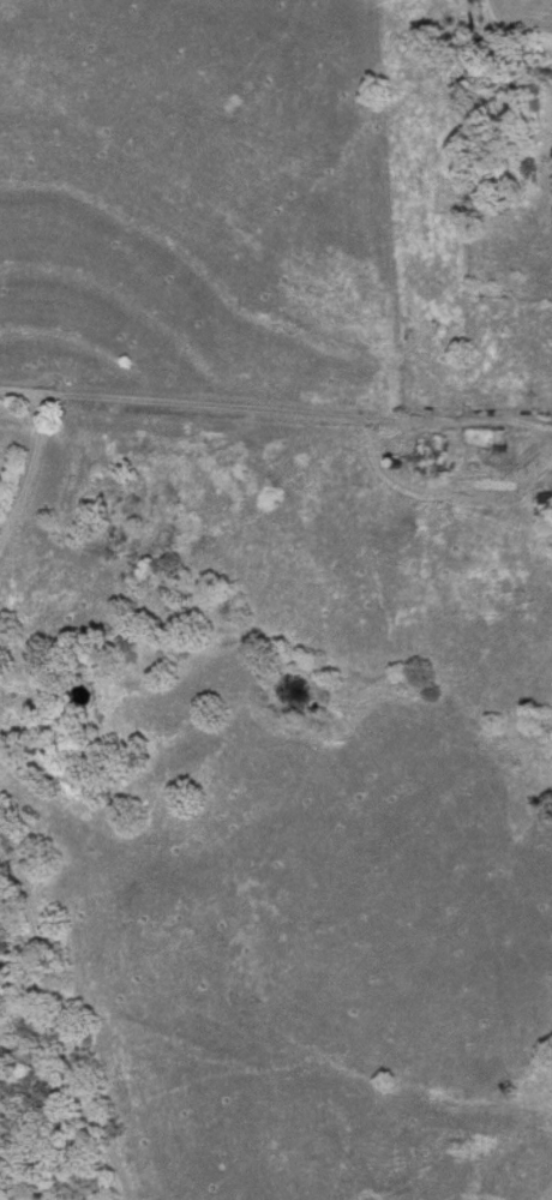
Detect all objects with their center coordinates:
road: (35, 450)
road: (66, 1020)

